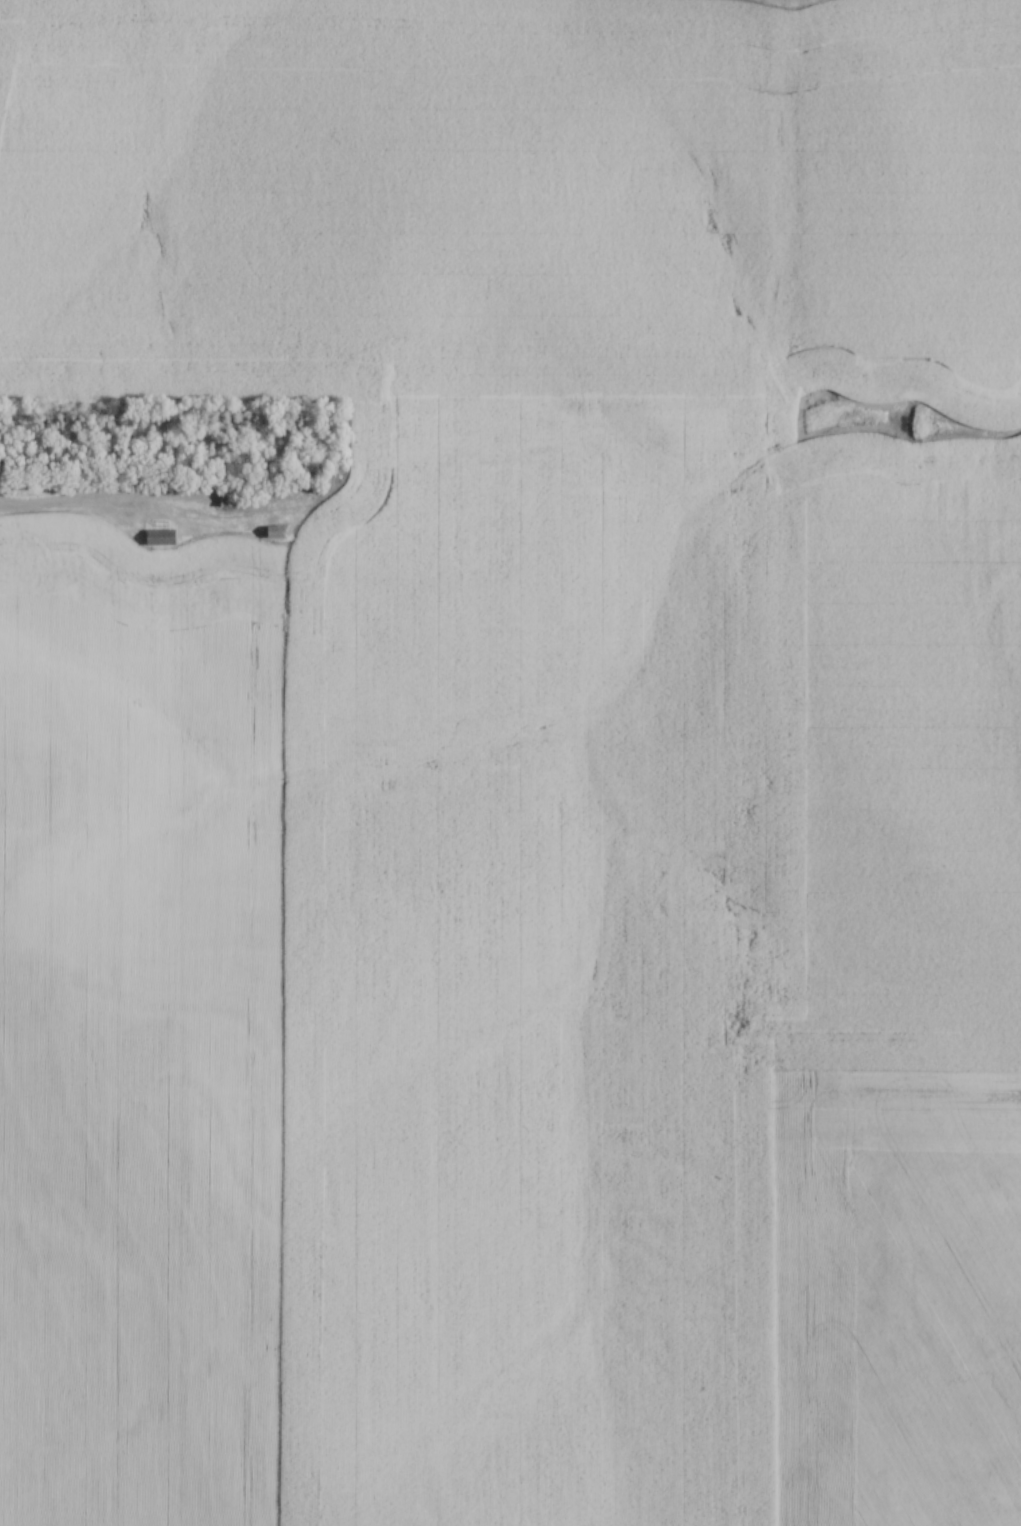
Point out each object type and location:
building: (278, 534)
building: (161, 538)

